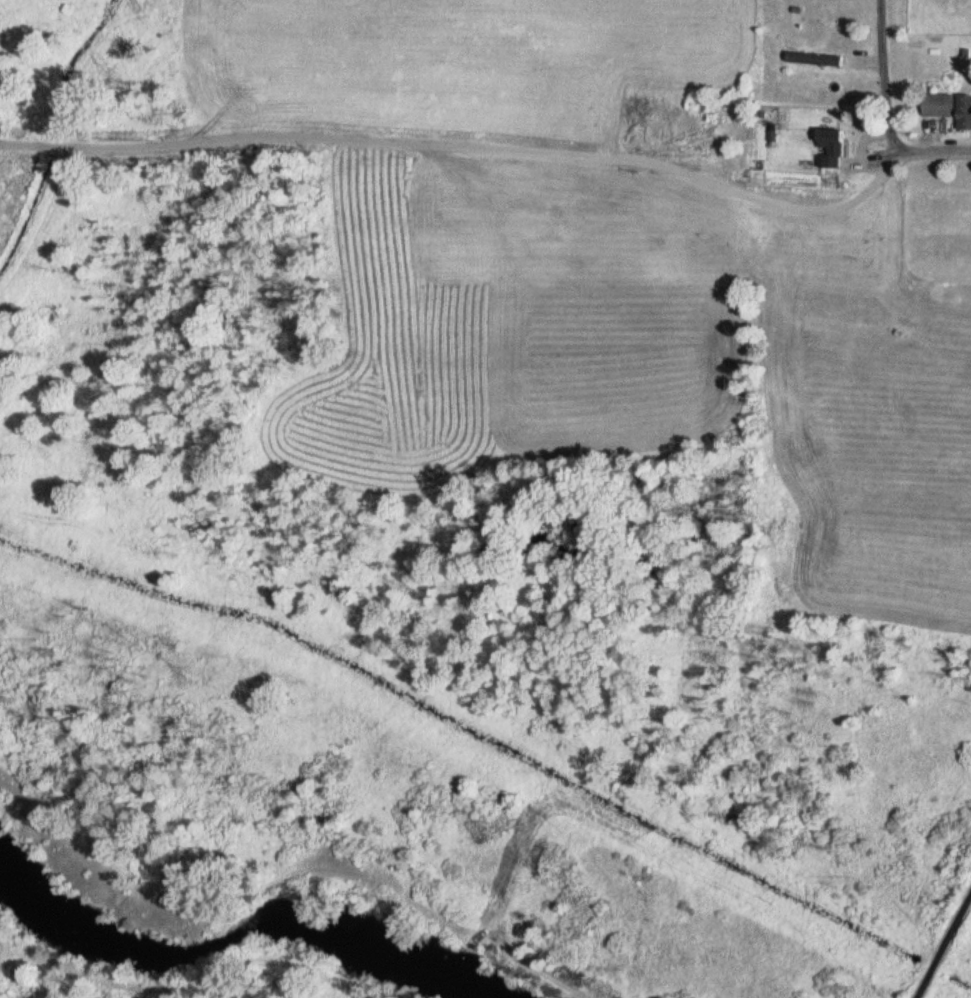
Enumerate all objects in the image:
building: (810, 60)
road: (884, 74)
building: (934, 106)
building: (962, 112)
road: (503, 147)
building: (828, 148)
road: (938, 936)

